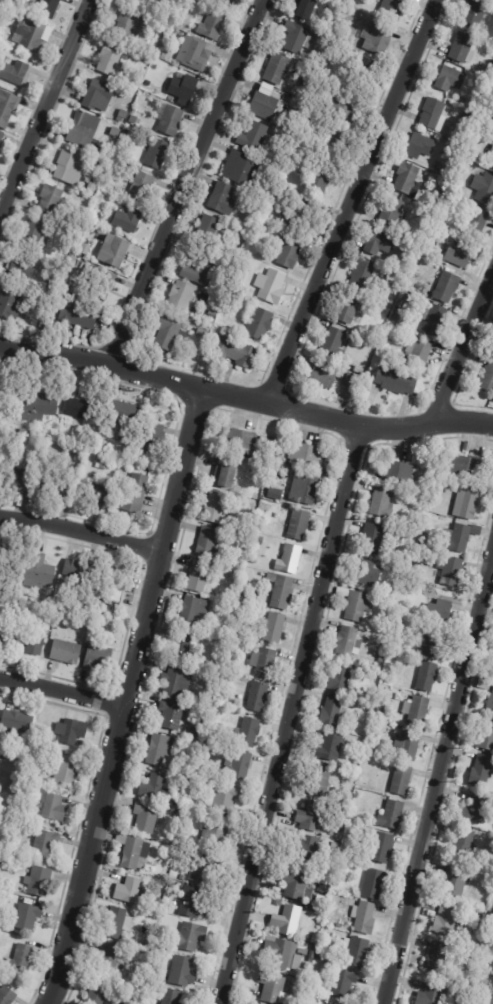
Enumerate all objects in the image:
building: (143, 1)
building: (226, 2)
building: (48, 8)
building: (394, 8)
building: (306, 9)
building: (146, 14)
building: (476, 14)
building: (213, 25)
building: (129, 26)
building: (32, 34)
building: (297, 38)
building: (378, 39)
building: (462, 47)
building: (193, 54)
building: (110, 59)
building: (277, 69)
building: (15, 73)
building: (366, 74)
building: (450, 79)
building: (184, 89)
building: (99, 96)
building: (477, 97)
building: (265, 103)
building: (344, 107)
building: (8, 108)
road: (44, 109)
building: (434, 115)
building: (122, 116)
building: (466, 119)
building: (171, 121)
building: (84, 130)
building: (116, 132)
building: (1, 137)
building: (256, 137)
building: (333, 140)
building: (421, 146)
building: (158, 154)
building: (491, 159)
building: (99, 163)
building: (69, 169)
building: (242, 170)
building: (320, 178)
building: (408, 178)
road: (190, 182)
building: (93, 187)
building: (142, 188)
building: (484, 189)
building: (274, 198)
building: (223, 199)
building: (50, 201)
road: (357, 201)
building: (297, 212)
building: (391, 212)
building: (442, 217)
building: (128, 221)
building: (475, 223)
building: (207, 231)
building: (33, 234)
building: (283, 236)
building: (87, 240)
building: (379, 243)
building: (114, 251)
building: (290, 253)
building: (458, 255)
building: (246, 261)
building: (22, 268)
building: (200, 274)
building: (363, 275)
building: (101, 280)
building: (63, 287)
building: (271, 287)
building: (447, 288)
building: (181, 298)
building: (9, 305)
building: (352, 308)
building: (400, 311)
building: (212, 313)
building: (79, 316)
building: (111, 316)
building: (433, 320)
building: (260, 325)
building: (170, 332)
building: (202, 333)
building: (370, 341)
building: (334, 344)
building: (386, 351)
building: (235, 352)
road: (465, 353)
building: (492, 353)
building: (418, 354)
building: (326, 375)
building: (488, 379)
building: (352, 381)
building: (398, 381)
building: (0, 389)
road: (245, 397)
building: (37, 406)
building: (125, 407)
building: (82, 408)
building: (24, 433)
building: (151, 437)
building: (240, 440)
building: (468, 448)
building: (100, 449)
building: (79, 450)
building: (124, 455)
building: (255, 456)
building: (307, 456)
building: (136, 457)
building: (106, 460)
building: (466, 467)
building: (226, 473)
building: (398, 473)
building: (18, 478)
building: (54, 486)
building: (309, 488)
building: (94, 492)
building: (135, 493)
building: (285, 497)
building: (382, 503)
building: (467, 503)
building: (267, 506)
building: (216, 507)
building: (299, 524)
road: (80, 532)
building: (373, 538)
building: (458, 538)
building: (260, 540)
building: (207, 542)
building: (6, 557)
building: (290, 559)
building: (76, 568)
building: (226, 568)
building: (452, 571)
building: (38, 573)
building: (367, 573)
building: (200, 576)
building: (401, 579)
building: (281, 590)
building: (64, 592)
building: (113, 592)
building: (245, 596)
building: (356, 604)
building: (191, 611)
building: (438, 613)
building: (392, 619)
building: (0, 625)
building: (401, 626)
building: (274, 627)
building: (6, 637)
building: (32, 641)
building: (433, 641)
building: (349, 642)
building: (182, 645)
building: (66, 651)
building: (229, 651)
building: (98, 656)
building: (381, 659)
building: (264, 662)
building: (227, 665)
building: (427, 676)
building: (341, 677)
building: (223, 680)
building: (175, 681)
road: (61, 689)
road: (125, 696)
building: (259, 697)
building: (490, 704)
building: (369, 709)
building: (417, 710)
building: (332, 711)
building: (216, 713)
building: (171, 715)
road: (290, 715)
building: (18, 721)
building: (71, 731)
building: (238, 731)
building: (250, 732)
building: (194, 733)
building: (487, 735)
building: (52, 741)
building: (409, 745)
building: (331, 746)
building: (160, 749)
building: (238, 764)
building: (65, 770)
building: (482, 771)
building: (33, 773)
building: (402, 779)
road: (438, 779)
building: (321, 780)
building: (186, 781)
building: (199, 781)
building: (14, 787)
building: (155, 787)
building: (225, 798)
building: (55, 808)
building: (477, 810)
building: (392, 815)
building: (312, 816)
building: (146, 819)
building: (7, 824)
building: (217, 834)
building: (45, 843)
building: (464, 845)
building: (334, 846)
building: (383, 847)
building: (309, 849)
building: (135, 853)
building: (344, 853)
building: (18, 854)
building: (202, 867)
building: (489, 876)
building: (183, 878)
building: (40, 882)
building: (456, 883)
building: (374, 884)
building: (297, 885)
building: (130, 890)
building: (320, 896)
building: (159, 903)
building: (192, 903)
building: (280, 903)
building: (142, 907)
building: (27, 917)
building: (365, 918)
building: (287, 920)
building: (447, 921)
building: (116, 923)
building: (490, 932)
building: (189, 937)
building: (314, 939)
building: (334, 949)
building: (359, 951)
building: (303, 952)
building: (281, 953)
building: (313, 953)
building: (320, 956)
building: (436, 958)
building: (21, 959)
building: (111, 960)
building: (338, 960)
building: (298, 963)
building: (182, 972)
building: (343, 984)
building: (276, 989)
building: (98, 993)
building: (434, 995)
building: (7, 996)
building: (171, 997)
building: (486, 997)

